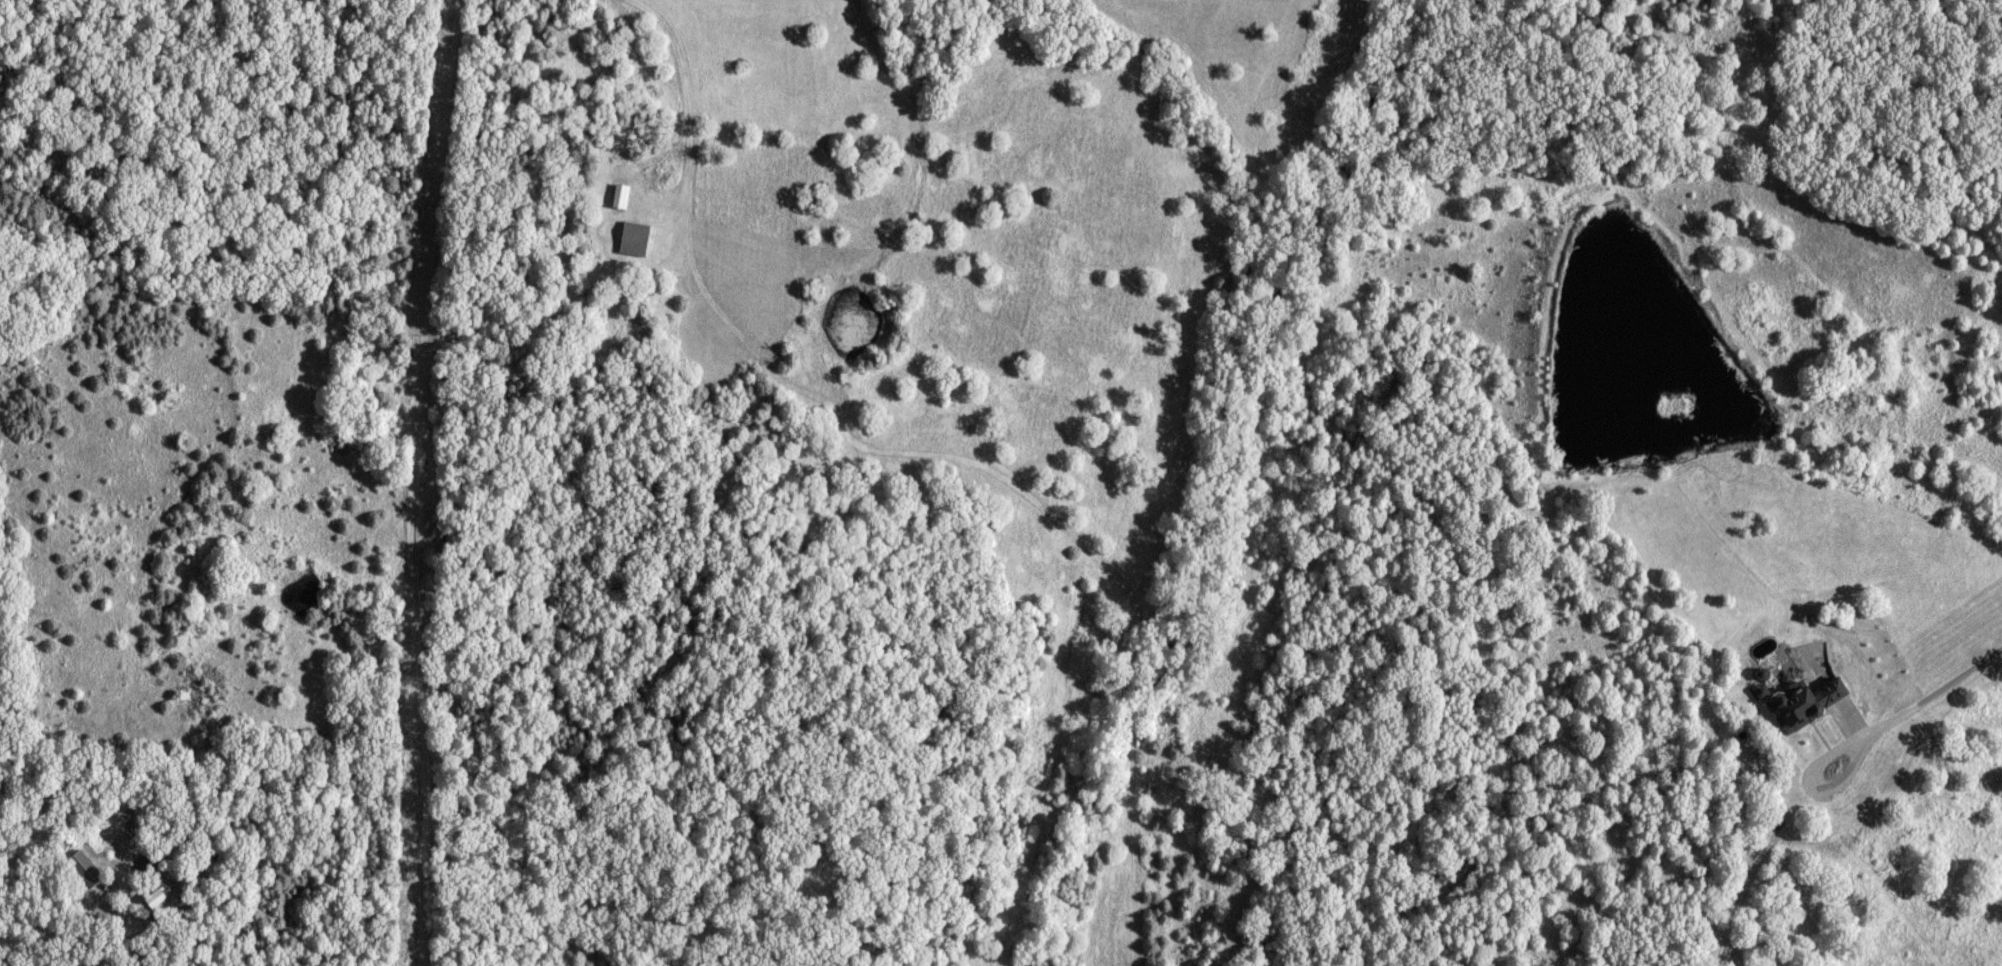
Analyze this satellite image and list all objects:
building: (634, 238)
road: (413, 482)
building: (1805, 702)
road: (1919, 703)
road: (148, 927)

